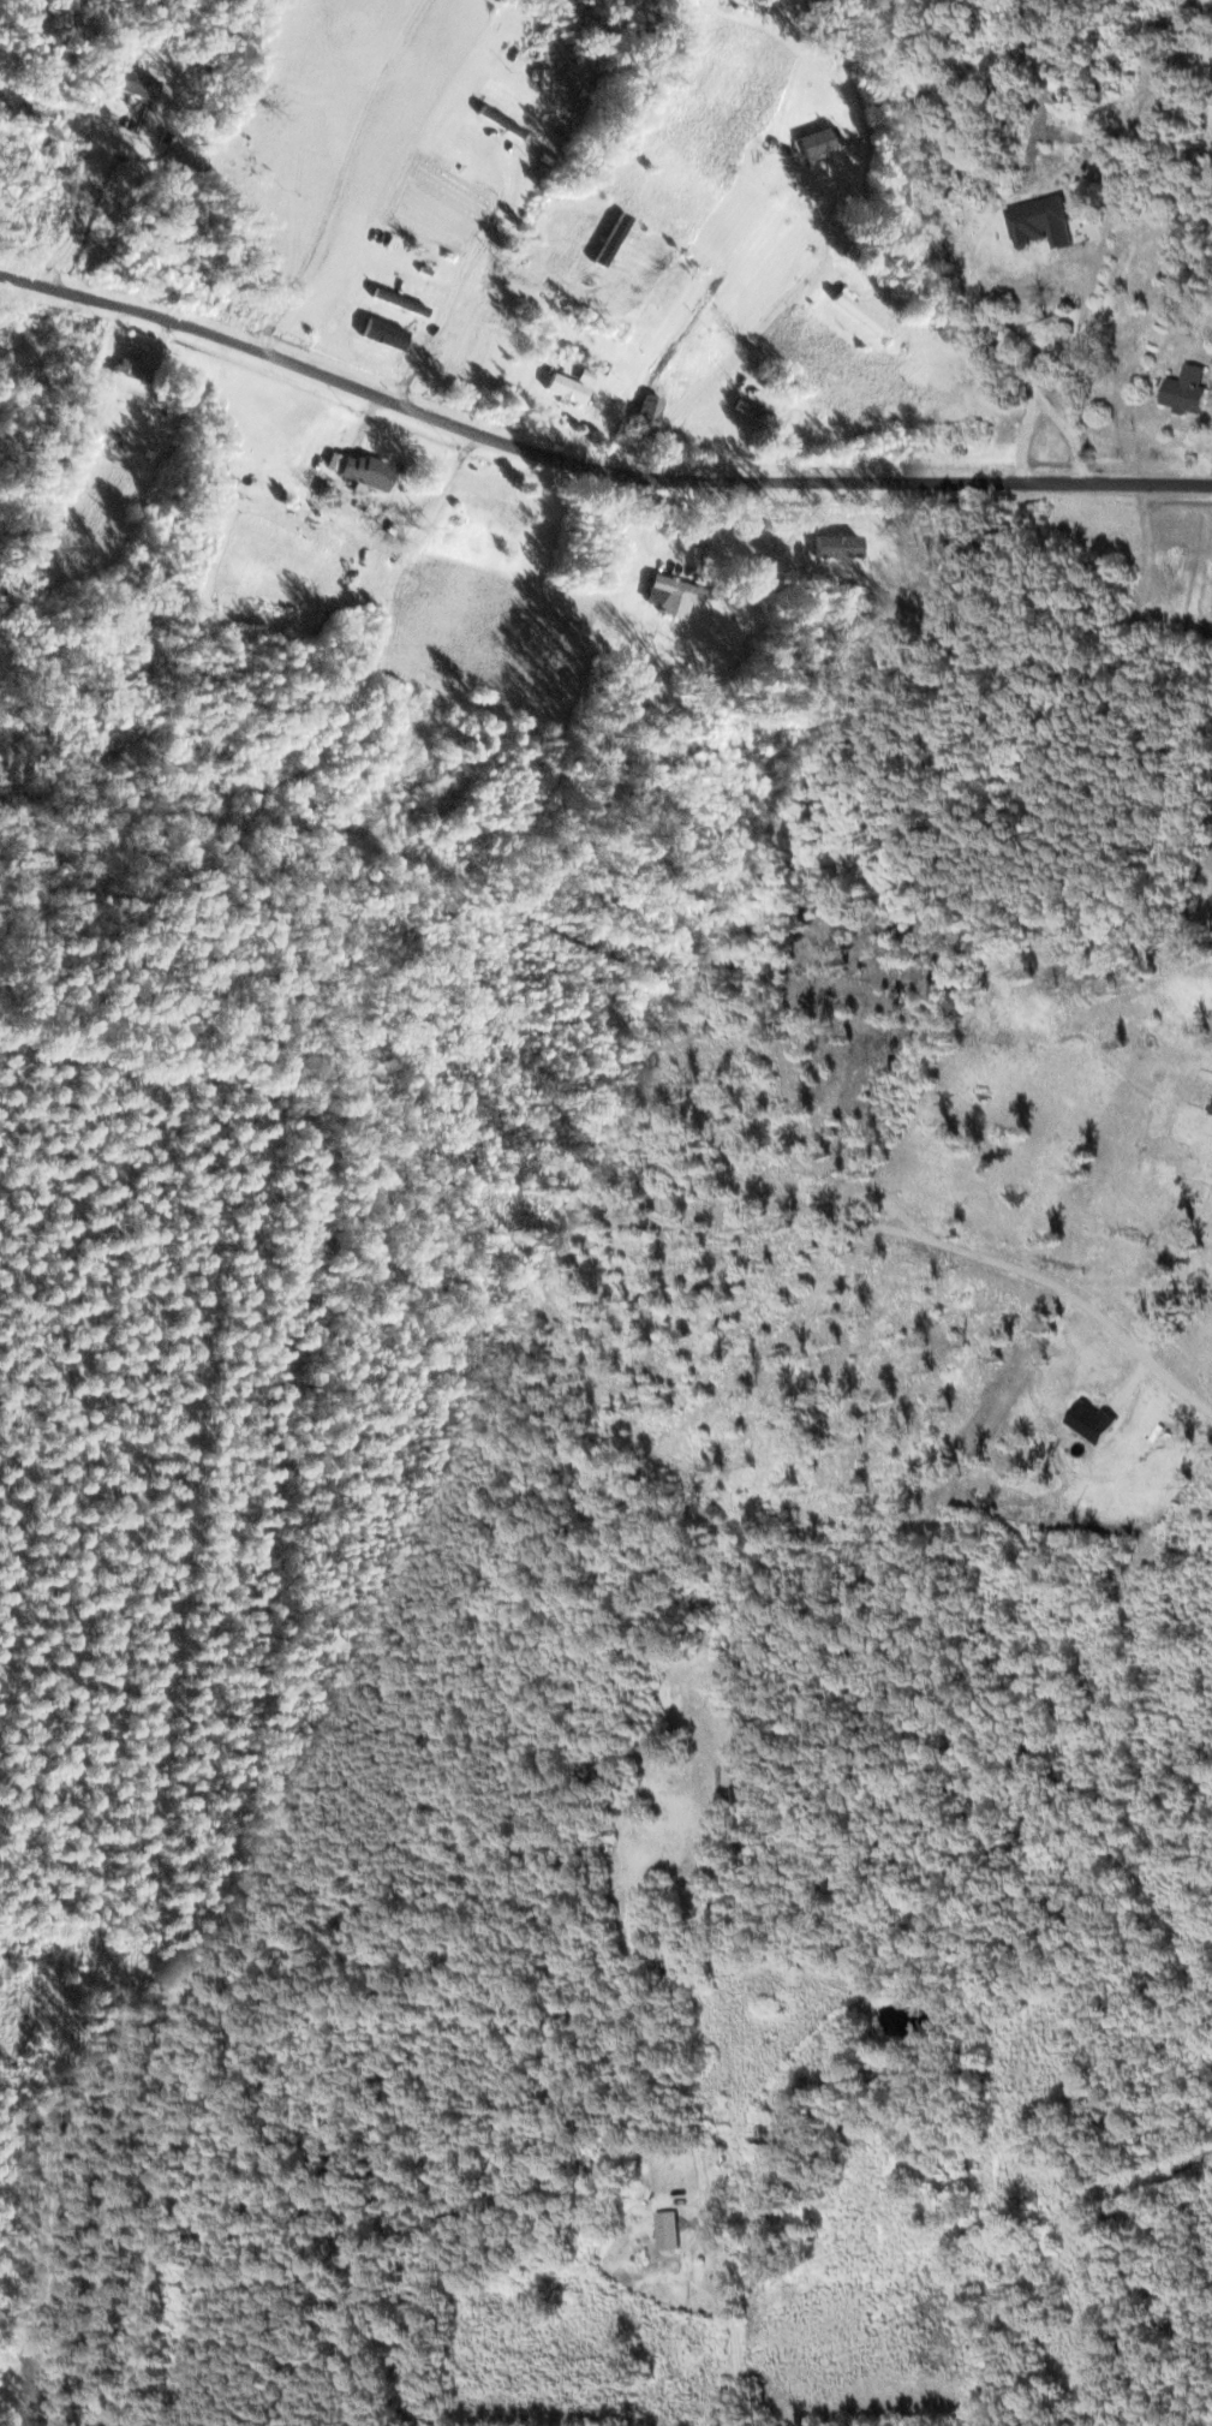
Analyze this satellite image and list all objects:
building: (132, 83)
building: (820, 143)
building: (992, 184)
building: (1057, 186)
building: (1081, 197)
road: (527, 202)
road: (1076, 208)
building: (49, 228)
road: (954, 236)
building: (1032, 249)
building: (401, 303)
building: (859, 314)
building: (2, 351)
building: (130, 377)
building: (572, 386)
building: (1189, 388)
building: (756, 411)
building: (650, 415)
road: (587, 459)
building: (366, 471)
building: (674, 596)
road: (382, 646)
building: (698, 1680)
building: (727, 1903)
building: (768, 2133)
road: (710, 2178)
building: (669, 2230)

